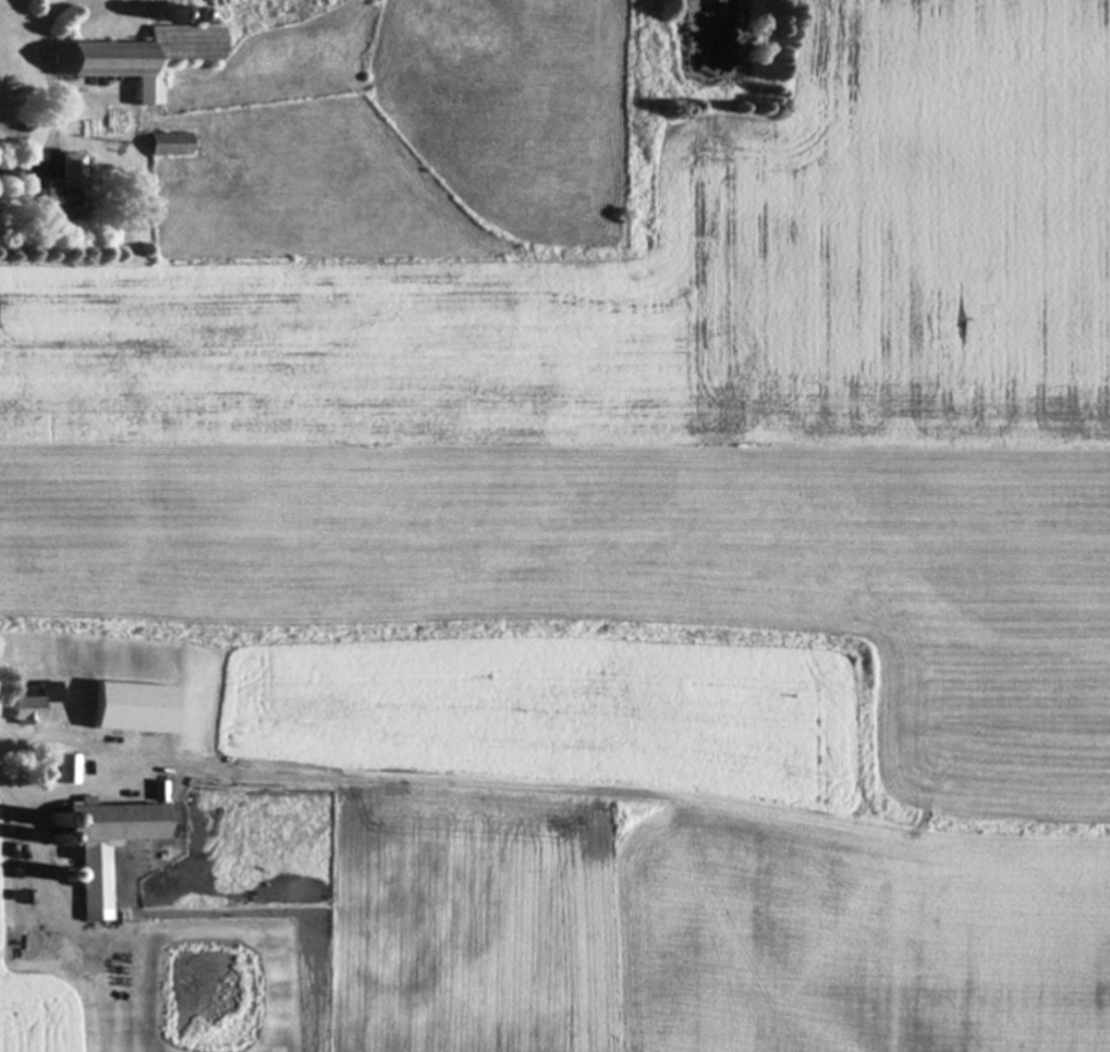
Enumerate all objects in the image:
building: (138, 59)
building: (169, 146)
road: (22, 169)
building: (65, 187)
building: (31, 702)
building: (130, 709)
road: (93, 767)
building: (63, 771)
building: (157, 793)
building: (102, 846)

